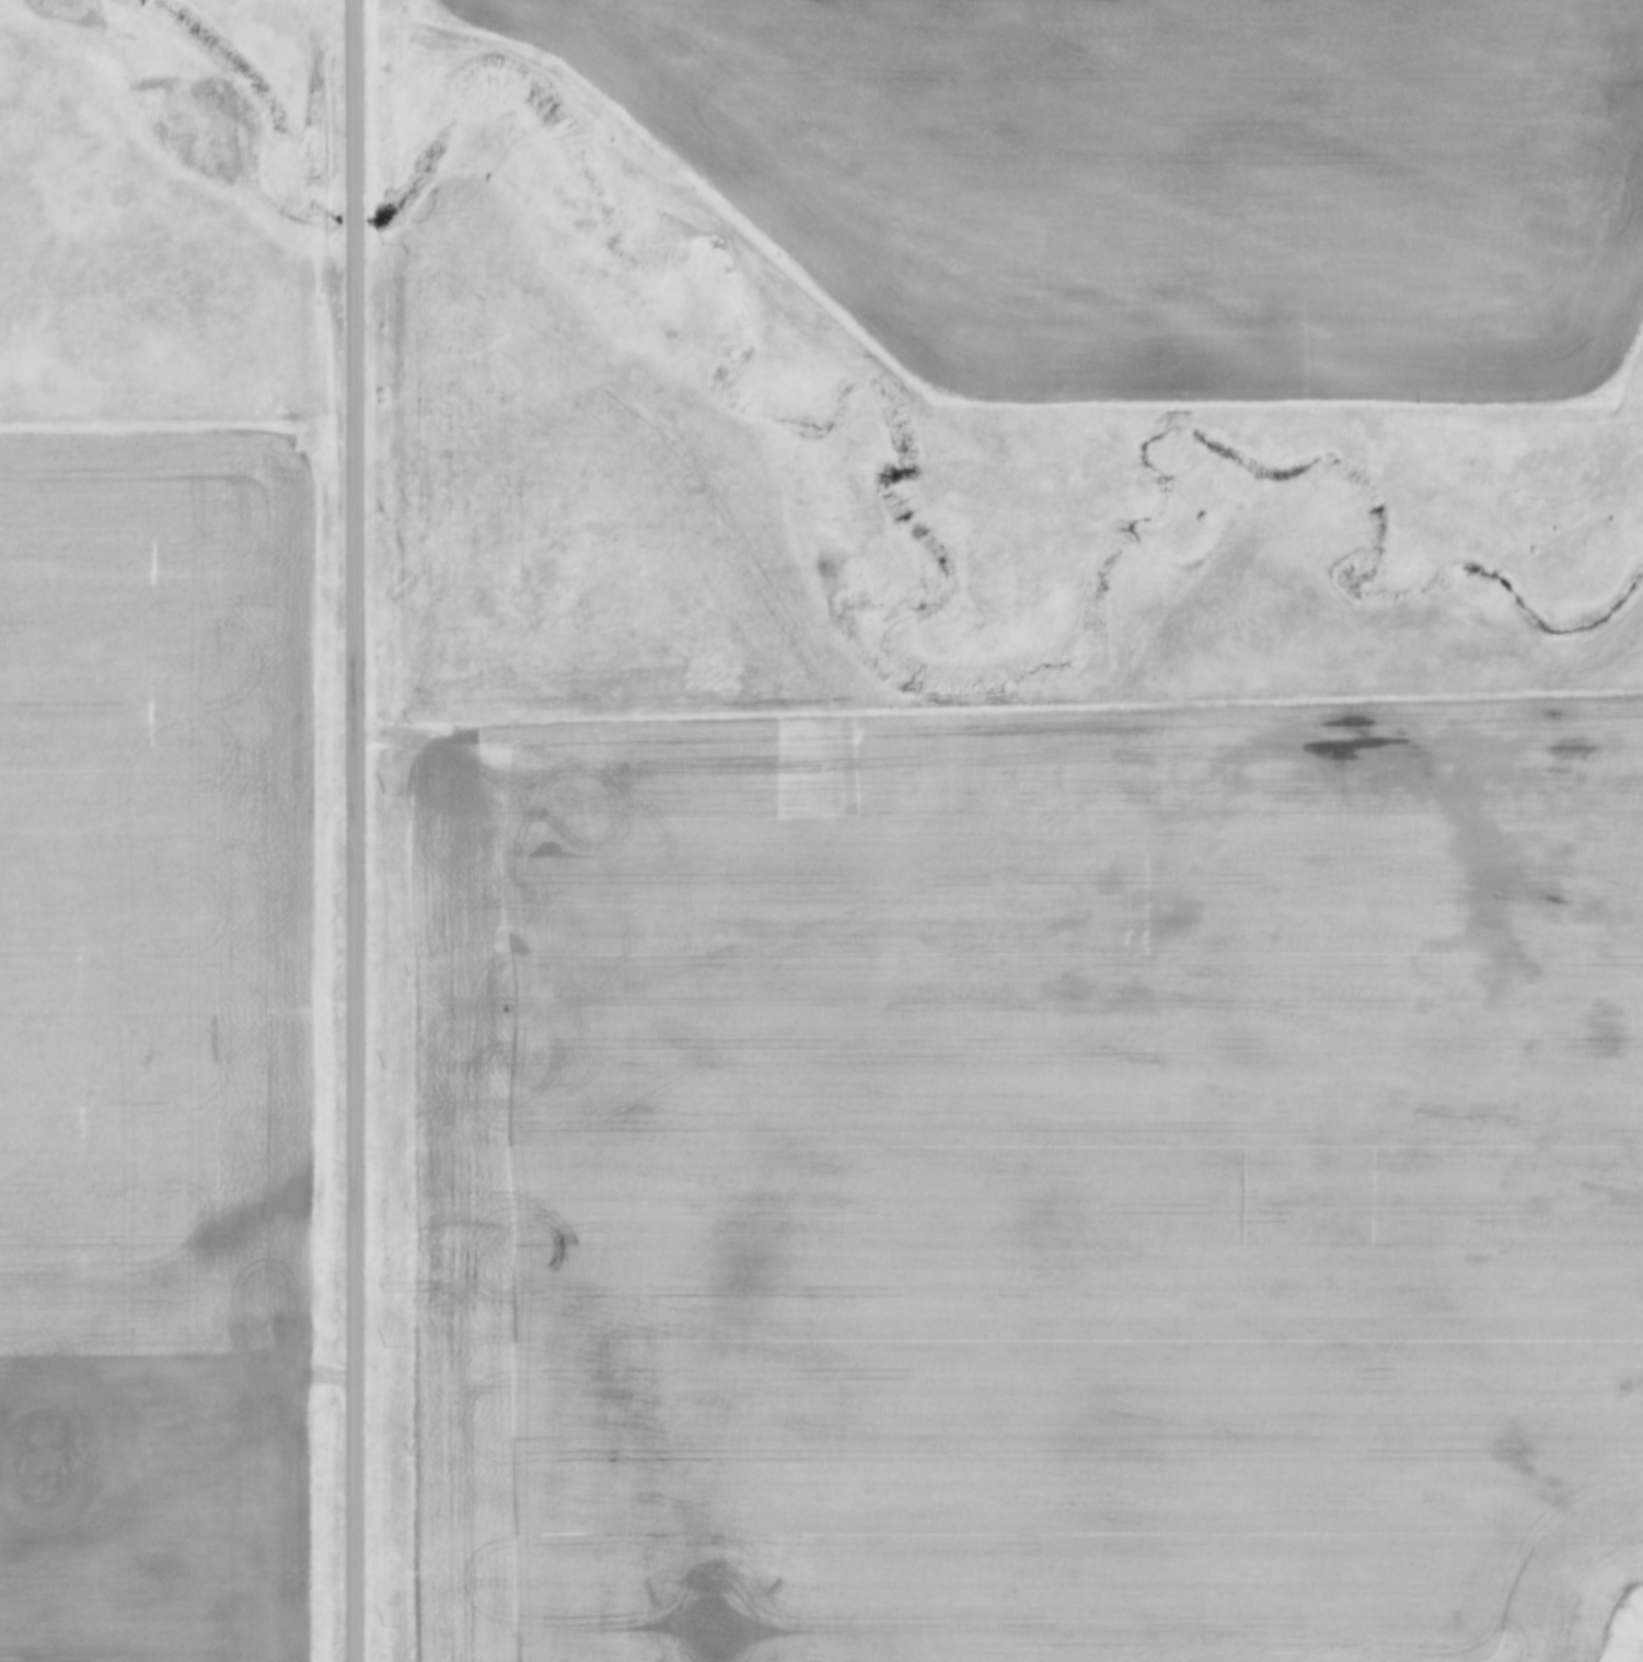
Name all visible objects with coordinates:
road: (355, 830)

